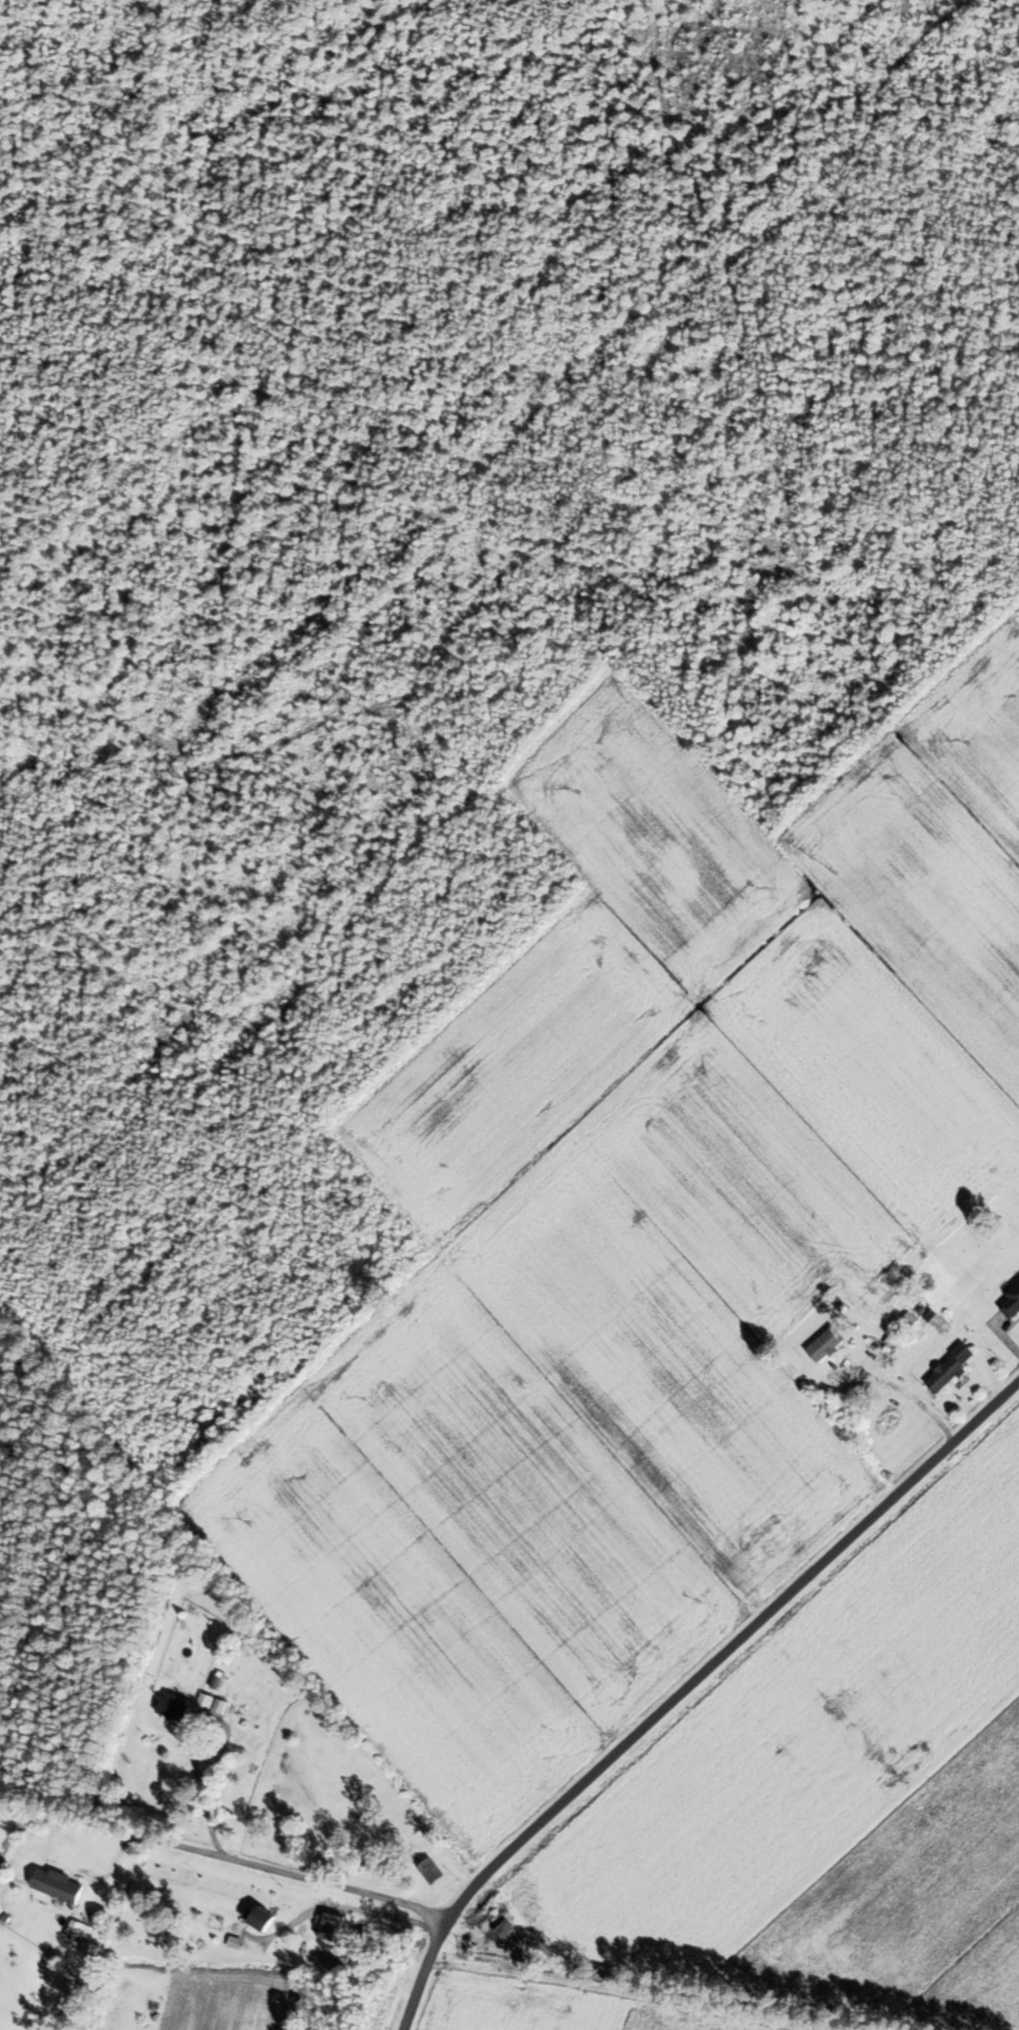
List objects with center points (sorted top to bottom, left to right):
building: (1011, 1301)
building: (825, 1343)
building: (949, 1367)
road: (918, 1400)
road: (689, 1689)
building: (171, 1708)
road: (193, 1740)
road: (220, 1857)
building: (429, 1870)
building: (56, 1884)
building: (259, 1916)
building: (331, 1927)
building: (507, 1933)

